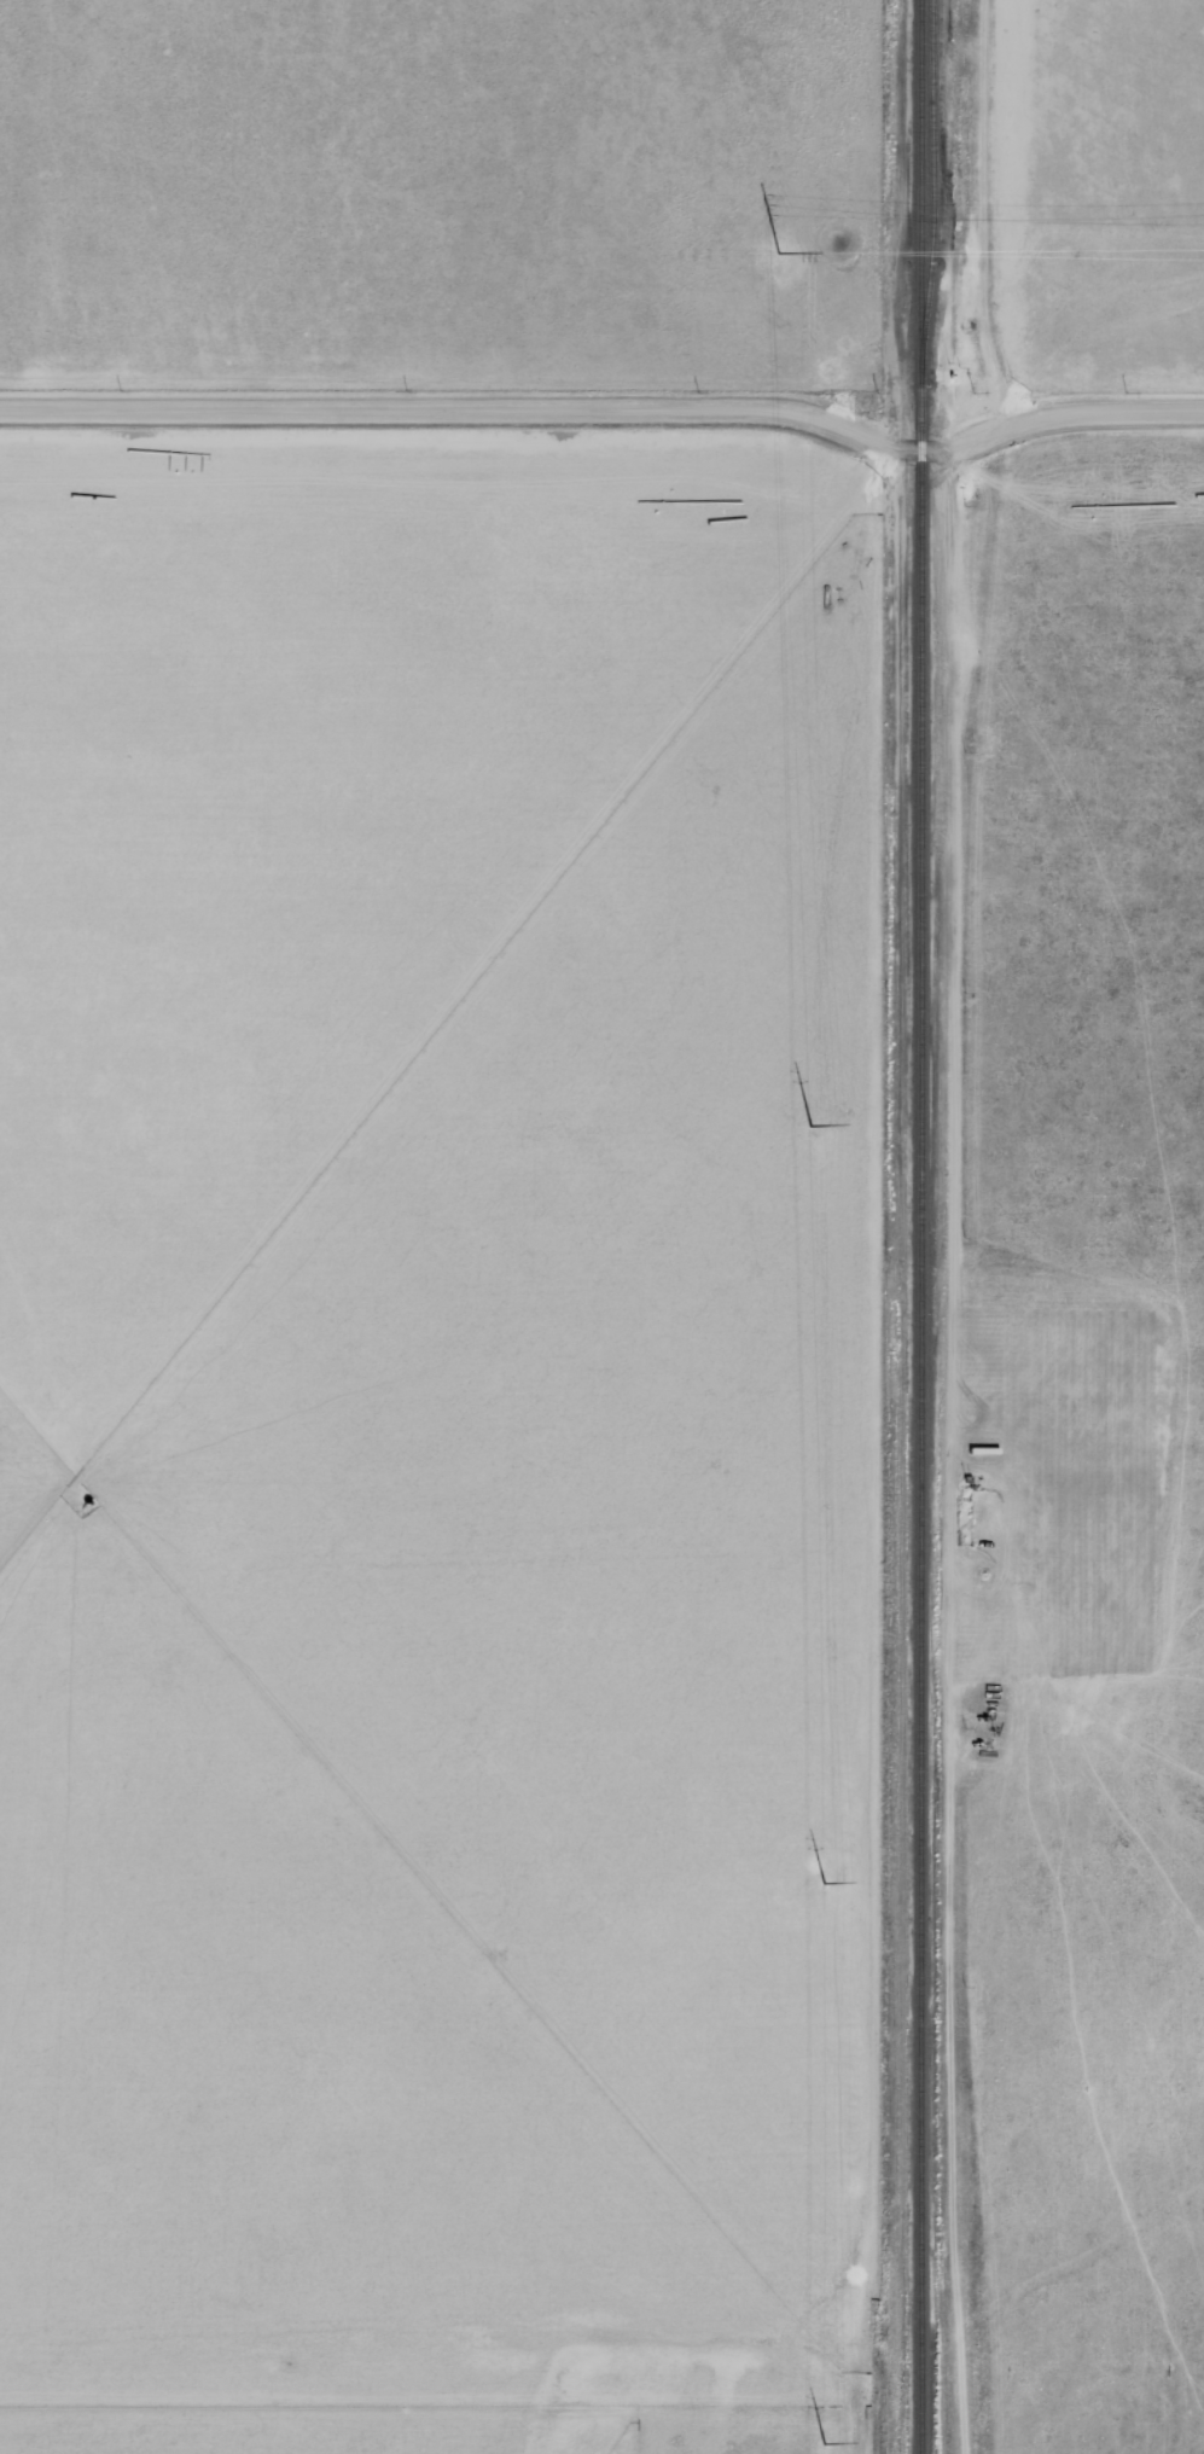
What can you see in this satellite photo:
railway: (932, 179)
road: (609, 412)
railway: (920, 1226)

